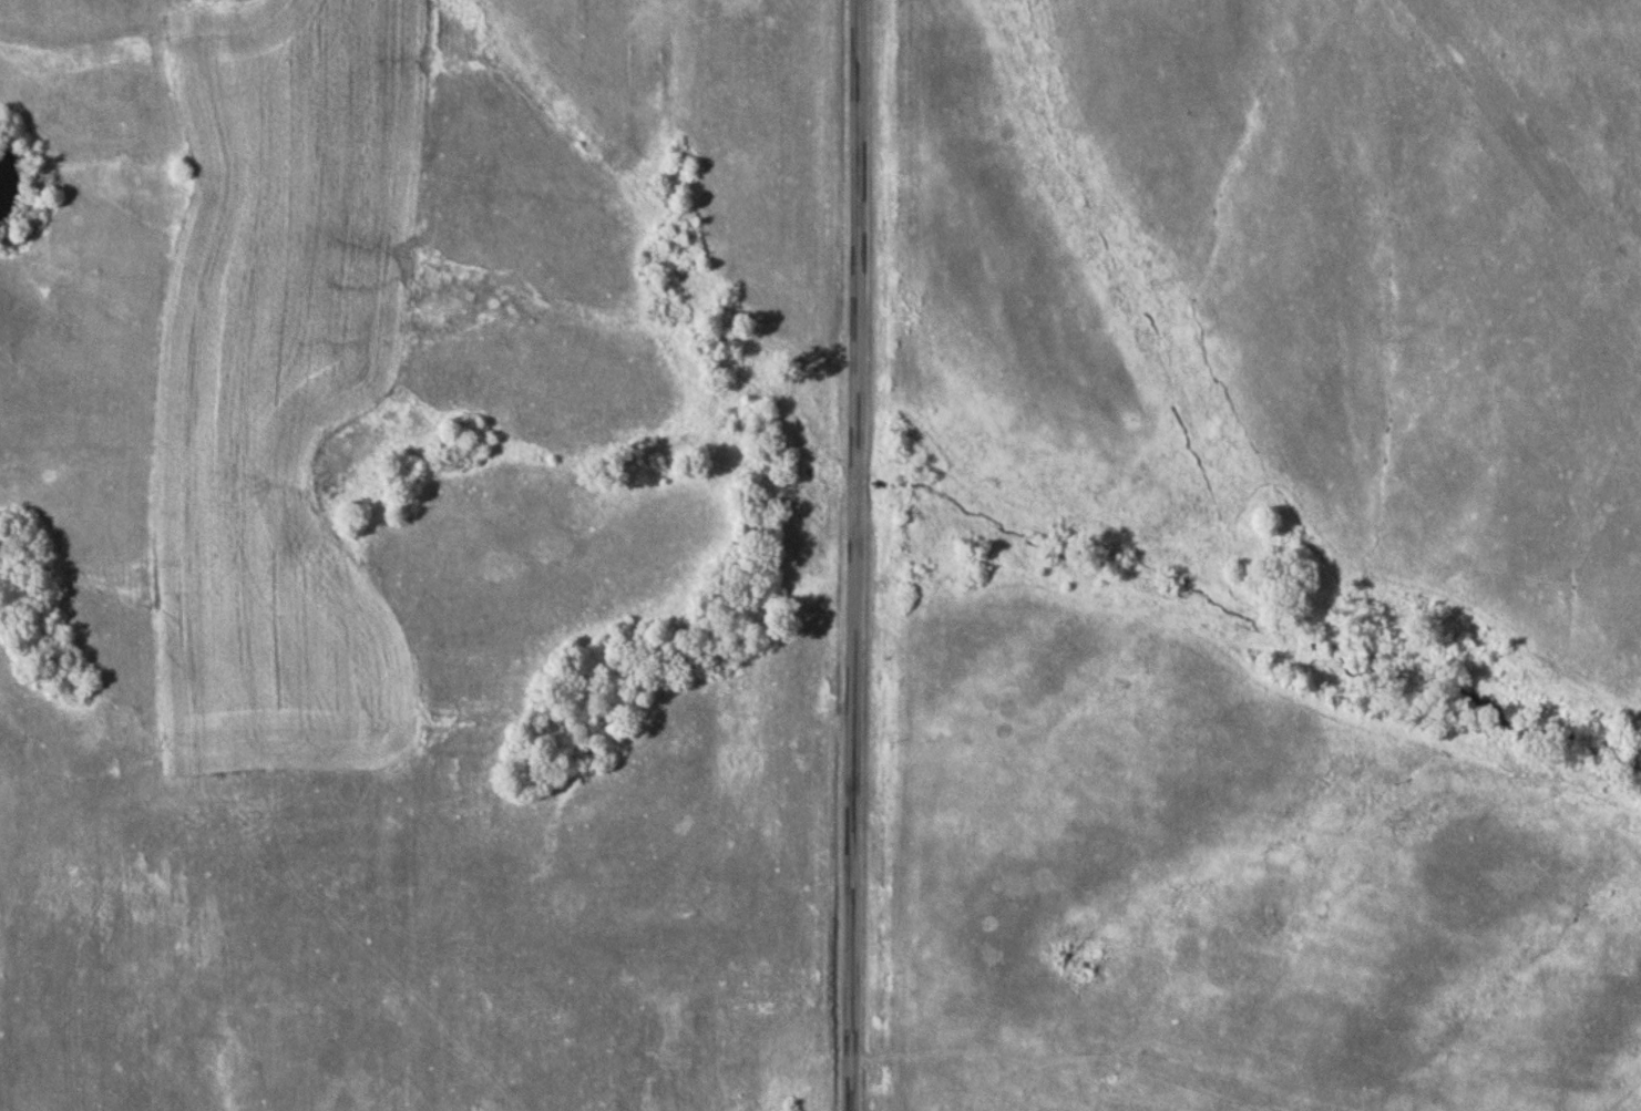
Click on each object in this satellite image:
road: (861, 555)

